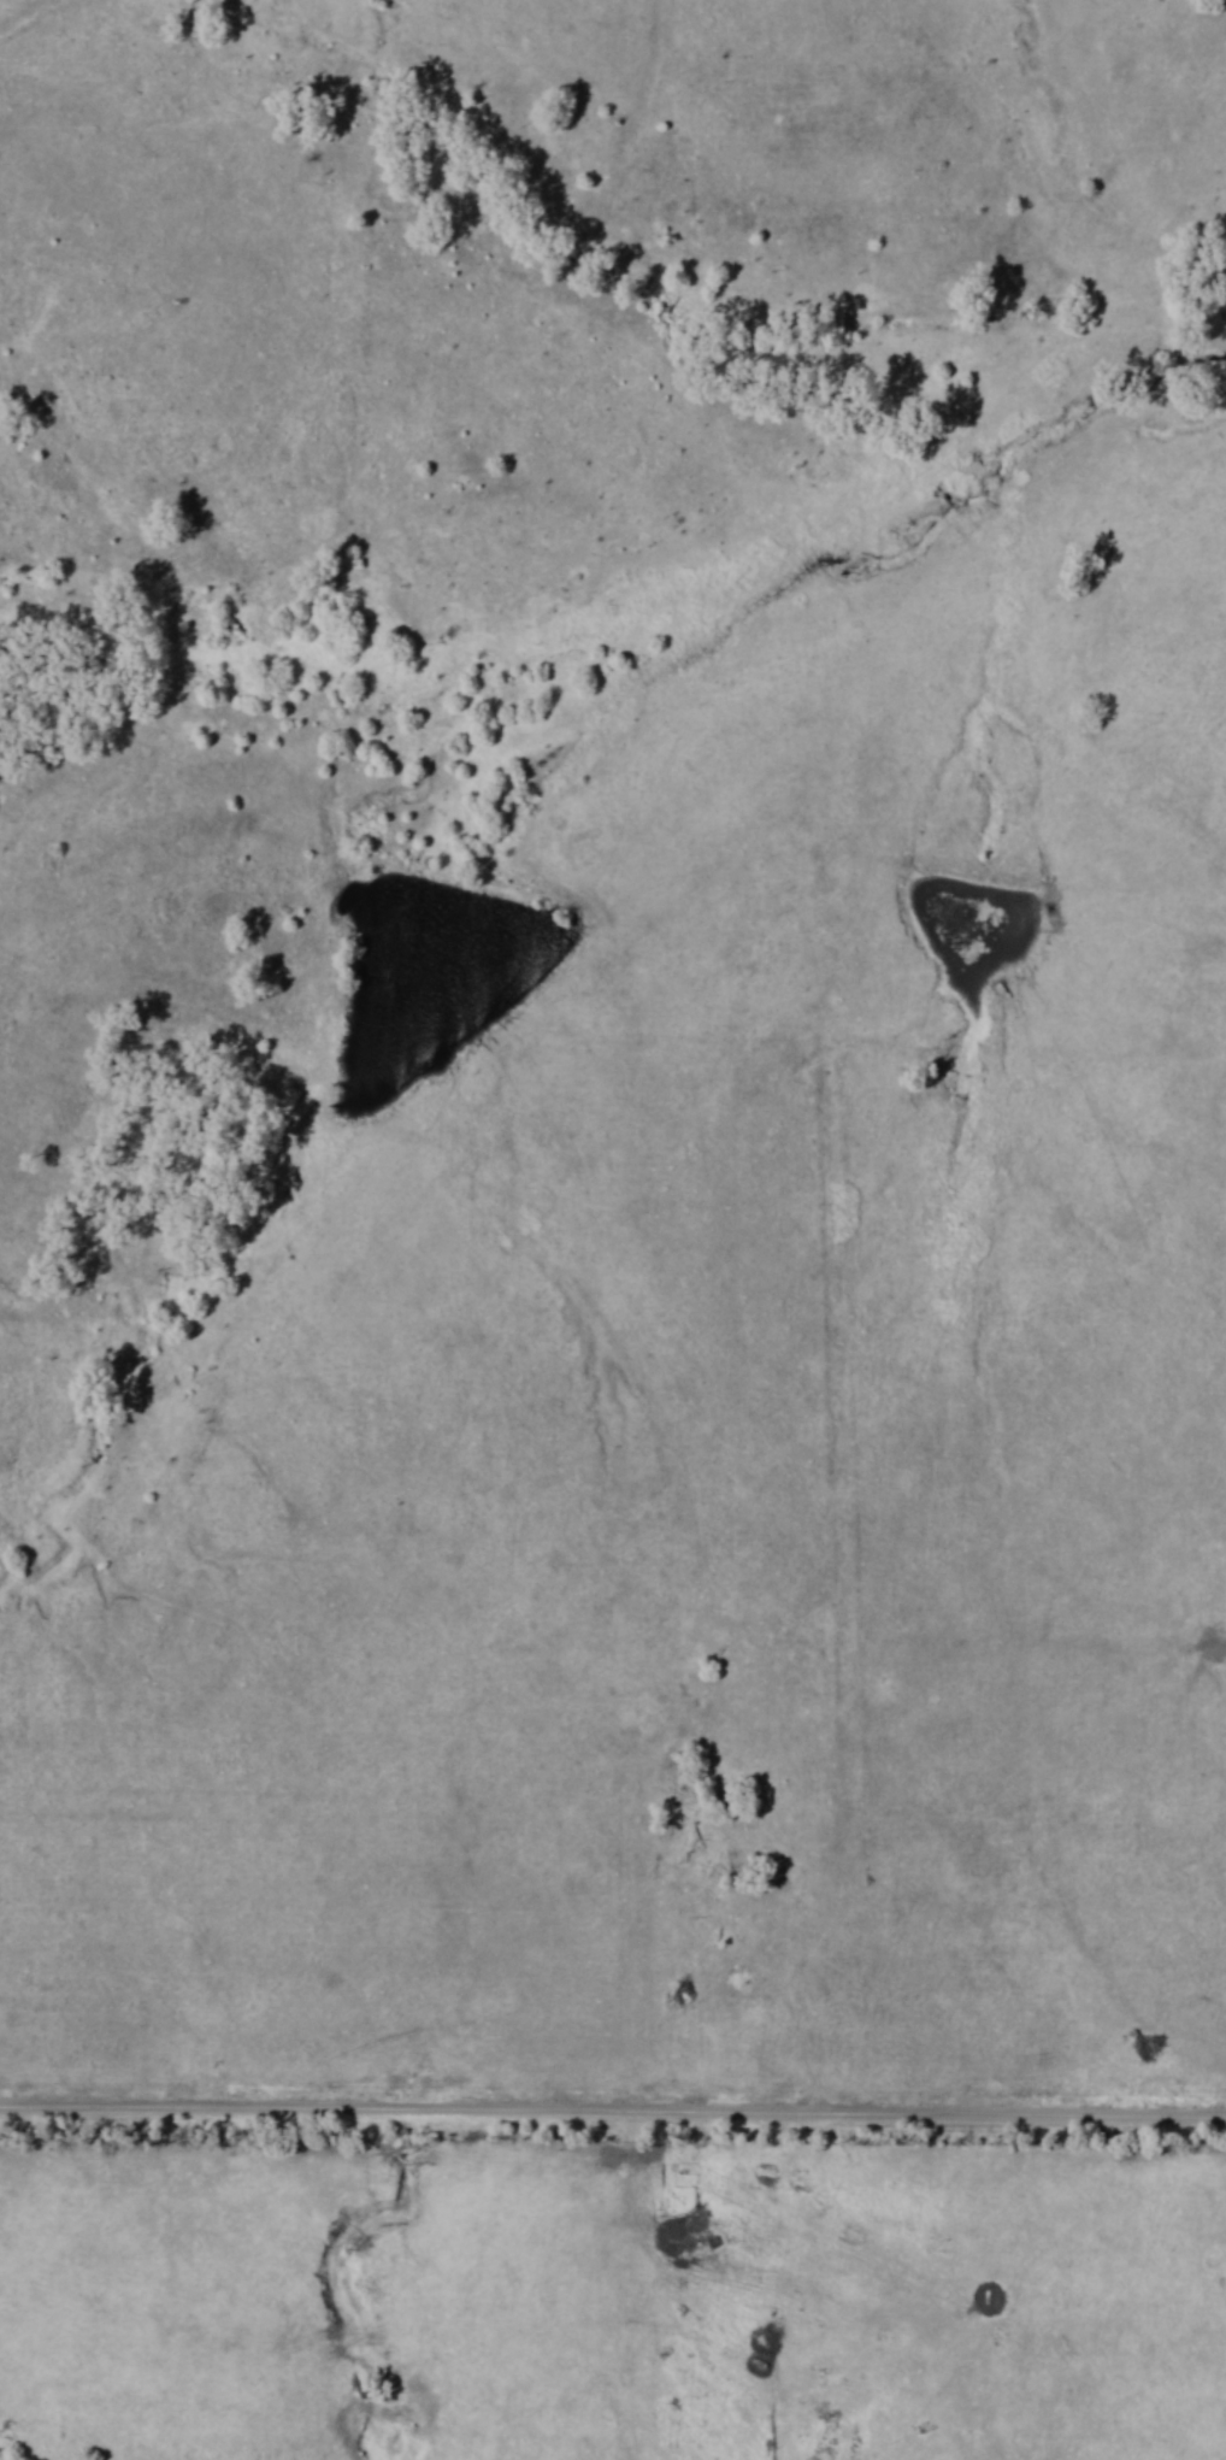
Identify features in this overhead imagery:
road: (613, 2113)

